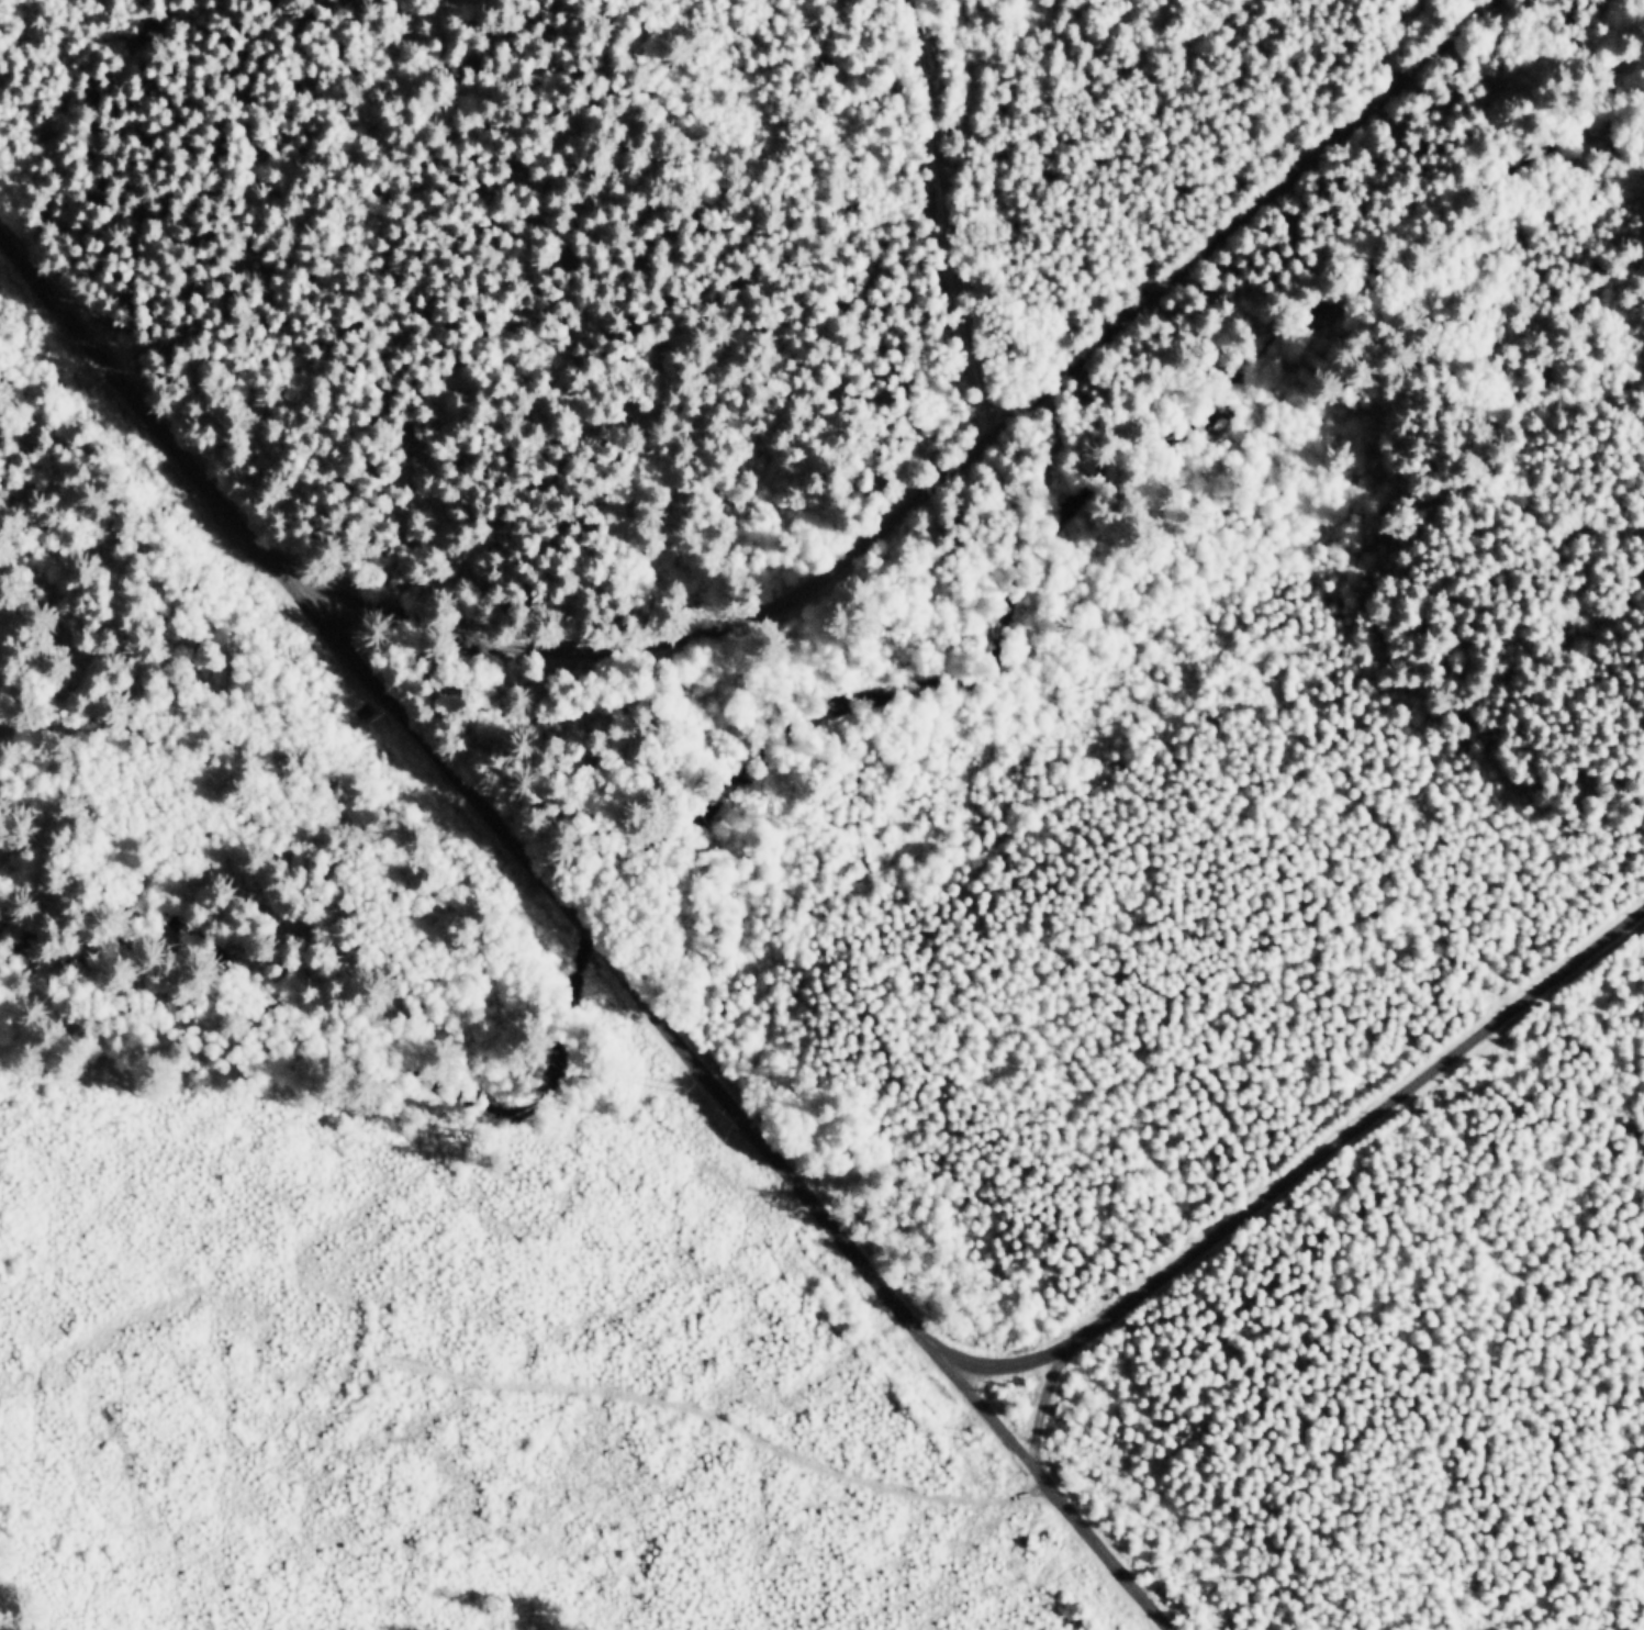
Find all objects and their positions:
road: (969, 470)
road: (605, 922)
road: (1299, 1158)
road: (1042, 1397)

